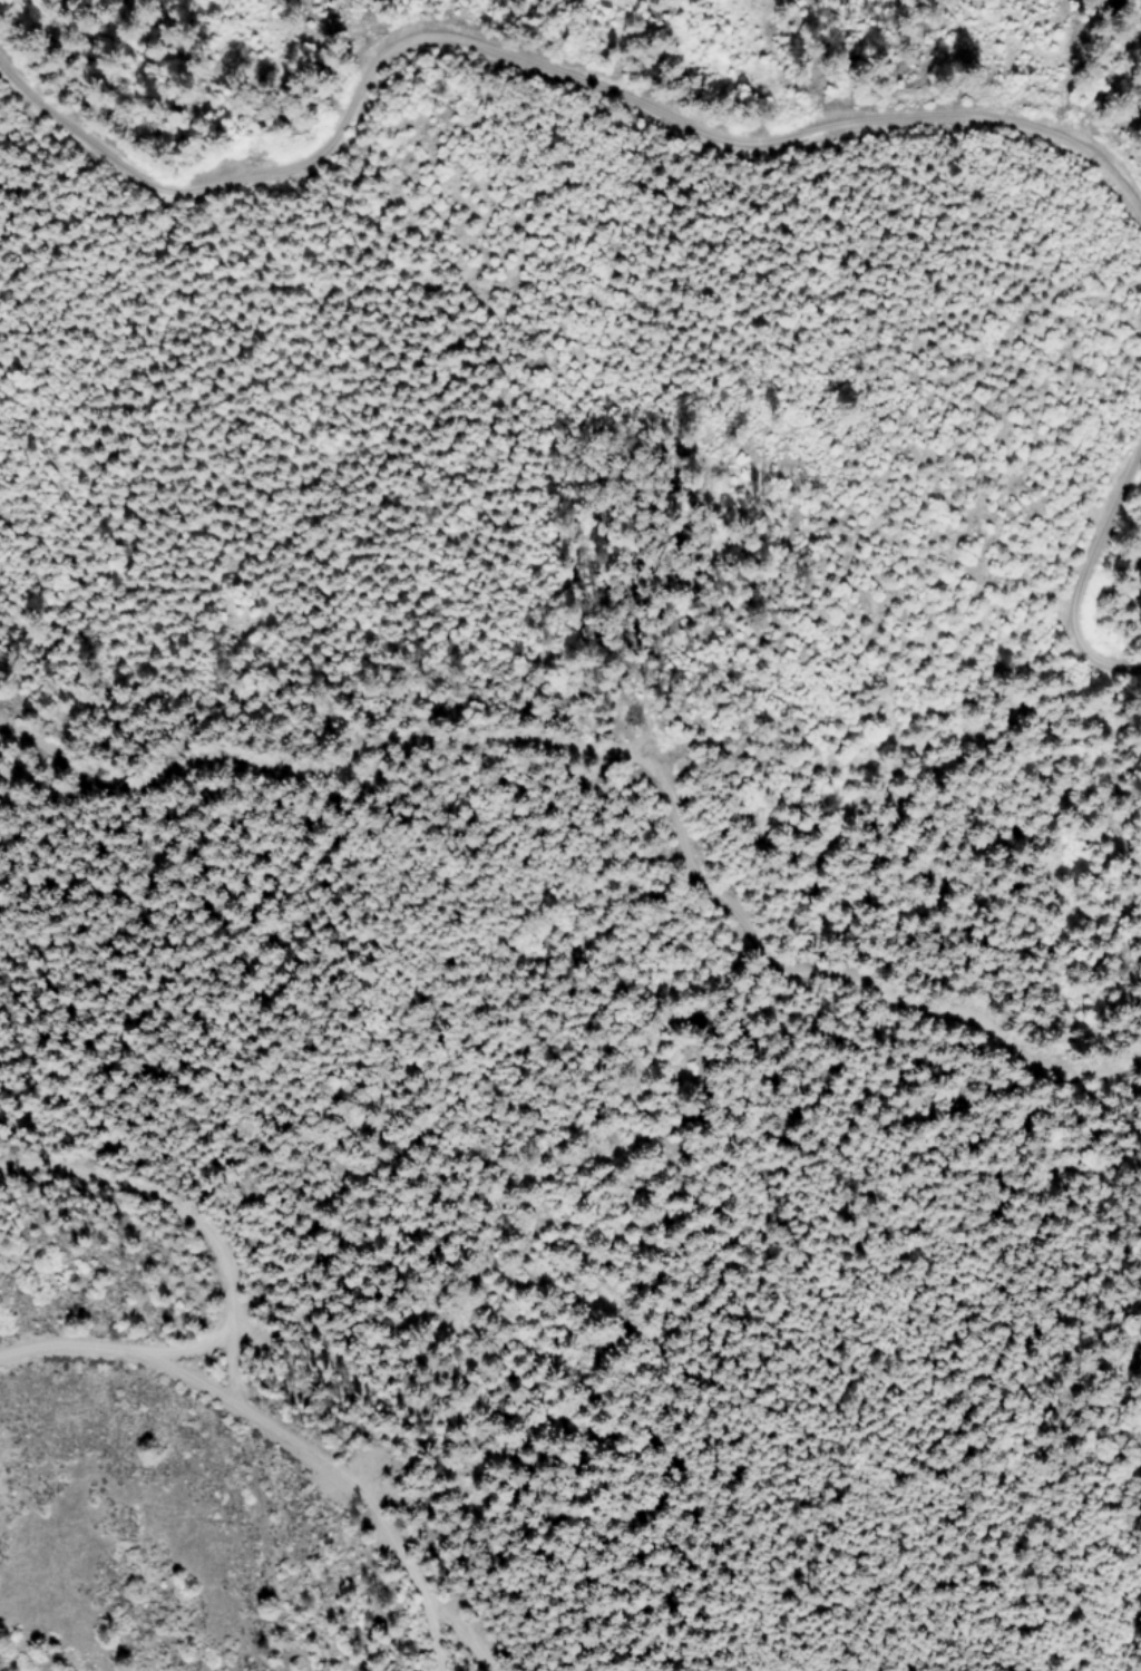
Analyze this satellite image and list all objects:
road: (549, 58)
road: (1086, 570)

